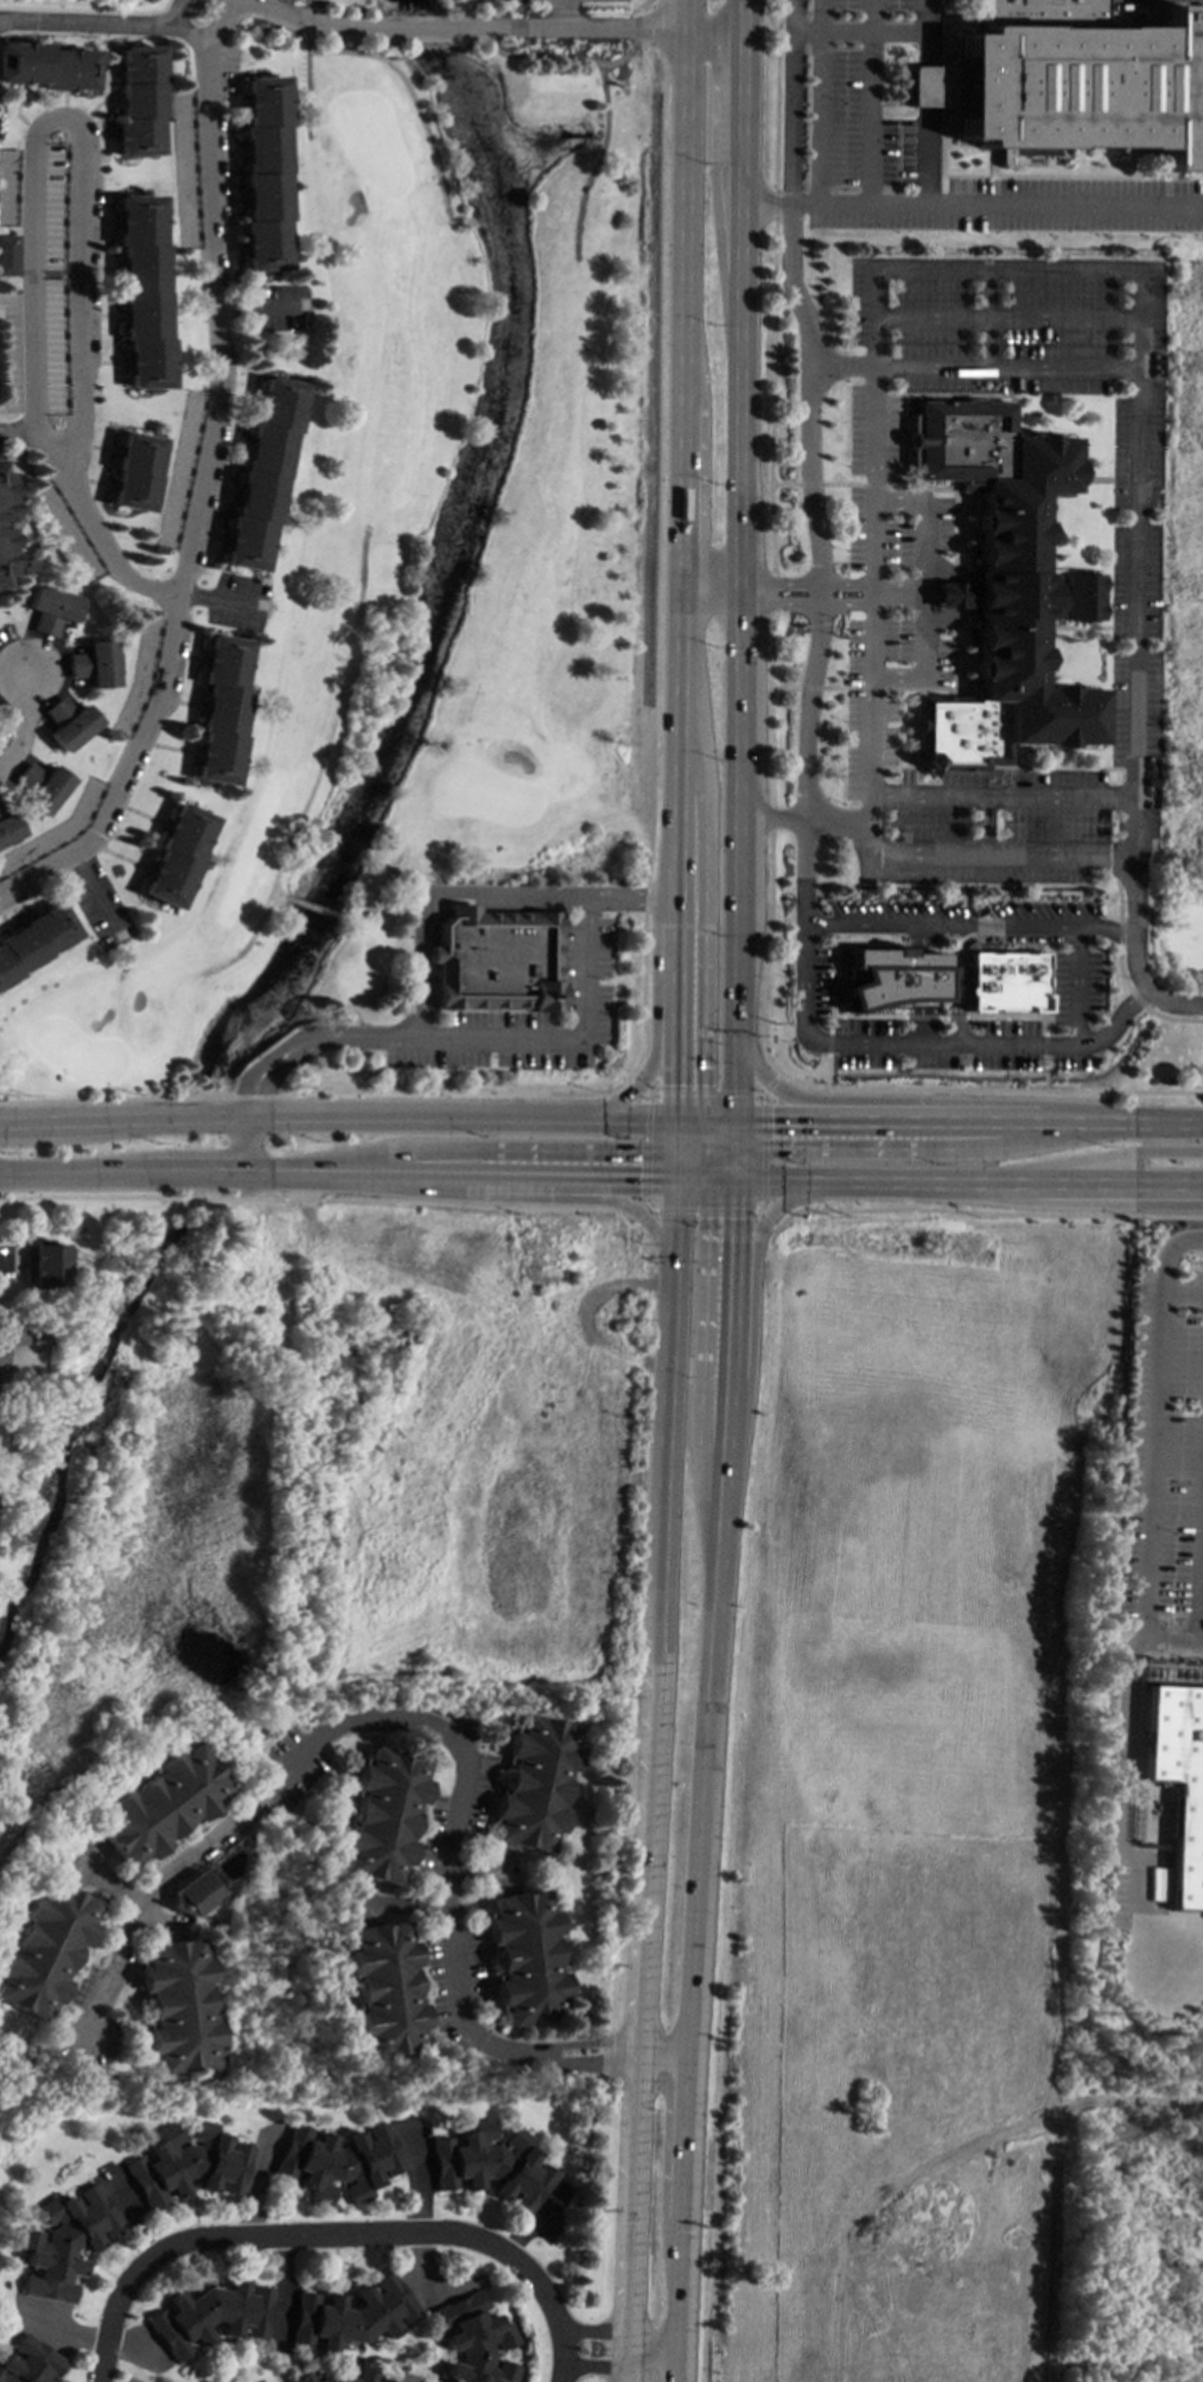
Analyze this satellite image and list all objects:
park: (113, 1)
road: (739, 6)
road: (564, 14)
road: (681, 14)
road: (740, 14)
road: (301, 18)
road: (96, 23)
road: (656, 25)
road: (579, 28)
road: (711, 28)
road: (418, 30)
road: (823, 31)
road: (892, 32)
road: (332, 37)
road: (424, 40)
road: (561, 57)
building: (47, 68)
road: (307, 68)
building: (1080, 78)
building: (928, 88)
road: (412, 95)
road: (775, 96)
building: (139, 100)
road: (822, 117)
road: (927, 119)
road: (65, 129)
road: (739, 152)
road: (596, 161)
building: (263, 172)
building: (9, 186)
road: (775, 204)
road: (765, 205)
road: (997, 205)
road: (680, 216)
building: (13, 254)
road: (1137, 272)
building: (145, 291)
road: (986, 320)
road: (1005, 320)
road: (842, 369)
road: (1004, 370)
road: (1007, 382)
road: (963, 394)
road: (886, 406)
road: (21, 431)
road: (737, 431)
road: (899, 432)
road: (808, 439)
road: (886, 444)
road: (903, 444)
building: (133, 471)
building: (261, 473)
road: (1091, 479)
road: (1124, 479)
road: (206, 480)
road: (784, 483)
road: (810, 484)
road: (841, 484)
road: (873, 485)
road: (919, 488)
road: (677, 505)
building: (4, 522)
road: (938, 529)
road: (938, 543)
road: (109, 552)
road: (654, 552)
park: (439, 553)
parking lot: (890, 562)
road: (775, 586)
road: (897, 586)
building: (1001, 590)
road: (923, 592)
building: (949, 594)
road: (736, 595)
road: (950, 595)
road: (960, 600)
road: (897, 606)
building: (47, 607)
road: (774, 607)
road: (1072, 628)
road: (1122, 628)
road: (770, 648)
building: (88, 663)
road: (784, 686)
road: (810, 687)
road: (833, 687)
road: (864, 688)
road: (916, 688)
road: (1107, 693)
road: (1122, 693)
building: (218, 708)
building: (63, 722)
road: (885, 724)
road: (906, 724)
road: (19, 725)
road: (897, 734)
road: (884, 739)
road: (663, 743)
road: (676, 752)
road: (884, 753)
road: (909, 763)
road: (320, 765)
road: (916, 768)
road: (1059, 768)
building: (37, 785)
road: (1002, 797)
road: (802, 821)
building: (6, 827)
road: (1118, 833)
road: (664, 852)
building: (173, 855)
road: (733, 862)
road: (704, 870)
road: (381, 889)
road: (279, 891)
road: (962, 891)
road: (666, 898)
road: (273, 900)
road: (318, 909)
road: (969, 925)
road: (970, 940)
building: (34, 941)
road: (1134, 956)
road: (425, 958)
building: (502, 962)
parking lot: (590, 962)
road: (586, 963)
building: (891, 977)
road: (830, 979)
road: (1122, 980)
building: (1005, 982)
road: (919, 983)
road: (1077, 983)
road: (1049, 986)
road: (675, 1008)
road: (867, 1015)
road: (935, 1017)
road: (1007, 1017)
road: (842, 1028)
road: (1006, 1030)
road: (499, 1038)
road: (653, 1040)
road: (828, 1043)
road: (909, 1043)
road: (1045, 1045)
road: (1202, 1068)
road: (828, 1071)
road: (1044, 1074)
traffic signals: (675, 1084)
traffic signals: (704, 1084)
road: (636, 1085)
road: (768, 1085)
road: (988, 1089)
road: (314, 1090)
road: (704, 1093)
traffic signals: (779, 1093)
road: (649, 1094)
road: (757, 1095)
road: (759, 1098)
road: (931, 1098)
road: (367, 1116)
road: (689, 1119)
road: (719, 1119)
traffic signals: (769, 1119)
road: (968, 1120)
road: (30, 1121)
road: (692, 1127)
road: (705, 1131)
road: (734, 1133)
road: (675, 1134)
road: (725, 1134)
road: (706, 1142)
road: (242, 1144)
road: (645, 1147)
road: (689, 1147)
road: (709, 1147)
road: (706, 1148)
road: (723, 1148)
traffic signals: (769, 1148)
road: (923, 1148)
road: (477, 1149)
traffic signals: (638, 1152)
road: (709, 1152)
road: (760, 1152)
road: (1100, 1157)
road: (688, 1161)
road: (675, 1163)
road: (734, 1164)
road: (707, 1165)
road: (720, 1167)
road: (77, 1172)
road: (197, 1172)
road: (456, 1173)
traffic signals: (637, 1177)
road: (692, 1177)
road: (721, 1178)
road: (866, 1179)
road: (1101, 1179)
road: (533, 1197)
road: (319, 1198)
road: (648, 1204)
road: (757, 1206)
road: (702, 1209)
road: (981, 1214)
road: (643, 1216)
traffic signals: (707, 1217)
traffic signals: (734, 1217)
road: (762, 1218)
road: (1166, 1250)
building: (42, 1265)
road: (1182, 1292)
road: (752, 1306)
building: (9, 1332)
road: (667, 1365)
road: (701, 1370)
road: (721, 1445)
road: (1150, 1465)
road: (1199, 1546)
road: (1171, 1639)
road: (444, 1734)
road: (1124, 1777)
building: (1178, 1782)
building: (534, 1783)
crop: (906, 1794)
building: (158, 1804)
road: (653, 1807)
building: (381, 1814)
road: (106, 1885)
road: (696, 1886)
building: (193, 1892)
building: (44, 1948)
building: (526, 1956)
road: (1157, 1961)
building: (384, 1989)
building: (177, 2005)
road: (1141, 2104)
building: (337, 2161)
building: (186, 2163)
building: (491, 2165)
road: (637, 2221)
road: (680, 2221)
park: (1131, 2224)
road: (310, 2236)
building: (62, 2241)
building: (351, 2313)
building: (209, 2314)
road: (618, 2333)
building: (473, 2340)
road: (565, 2357)
building: (27, 2362)
road: (618, 2370)
building: (335, 2376)
building: (383, 2380)

